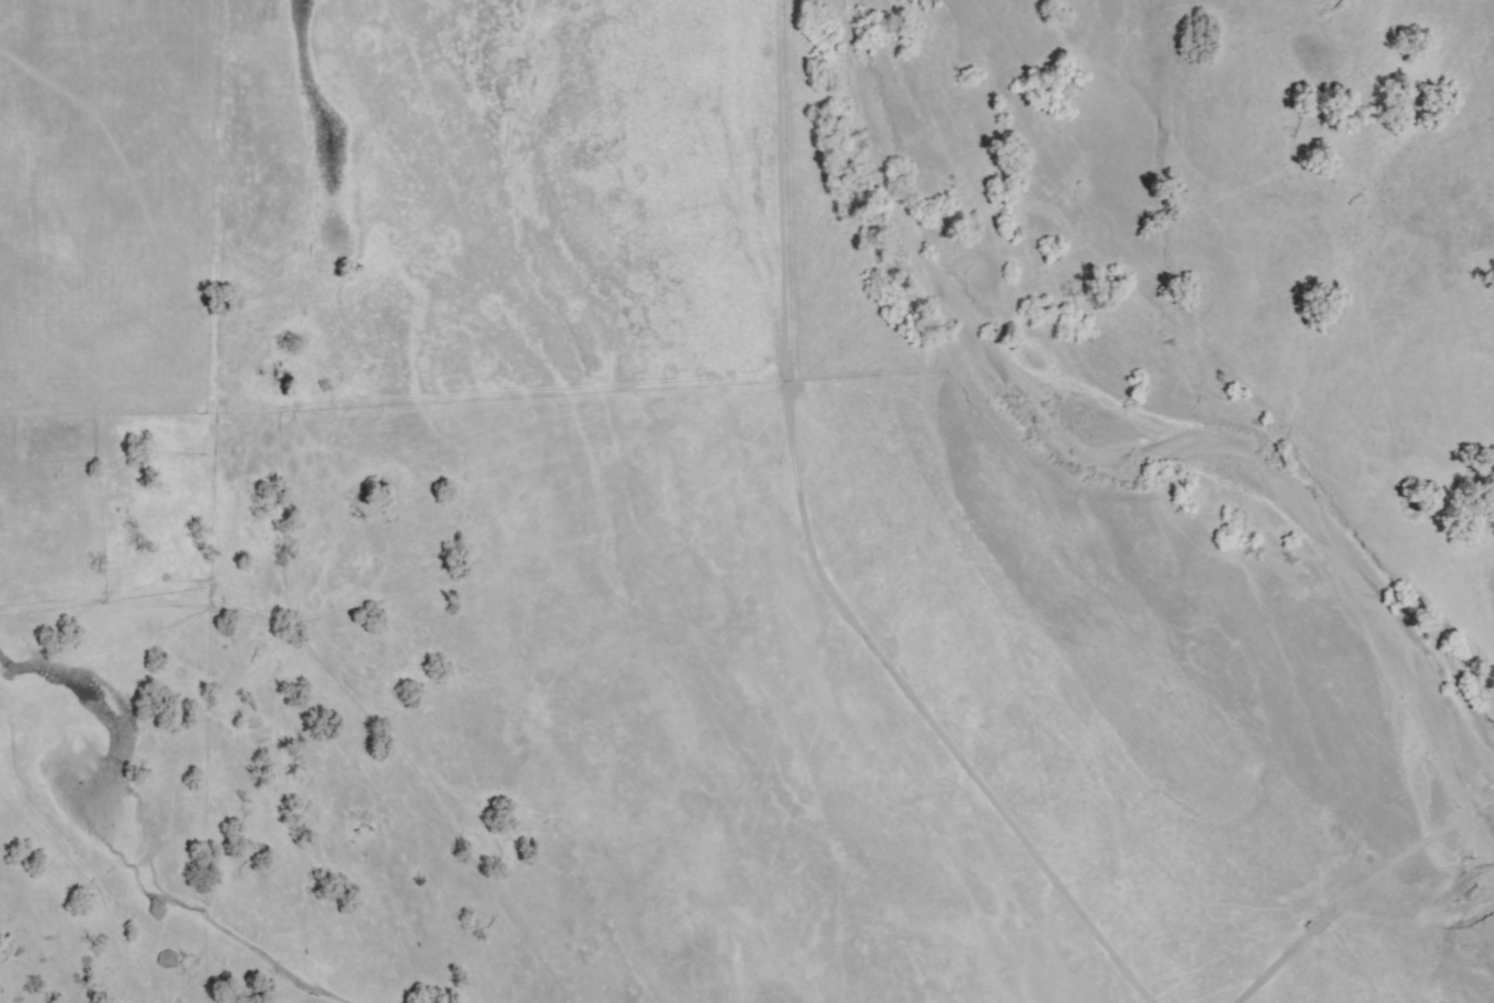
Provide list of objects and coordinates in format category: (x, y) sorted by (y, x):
crop: (1315, 276)
crop: (509, 559)
road: (1356, 890)

